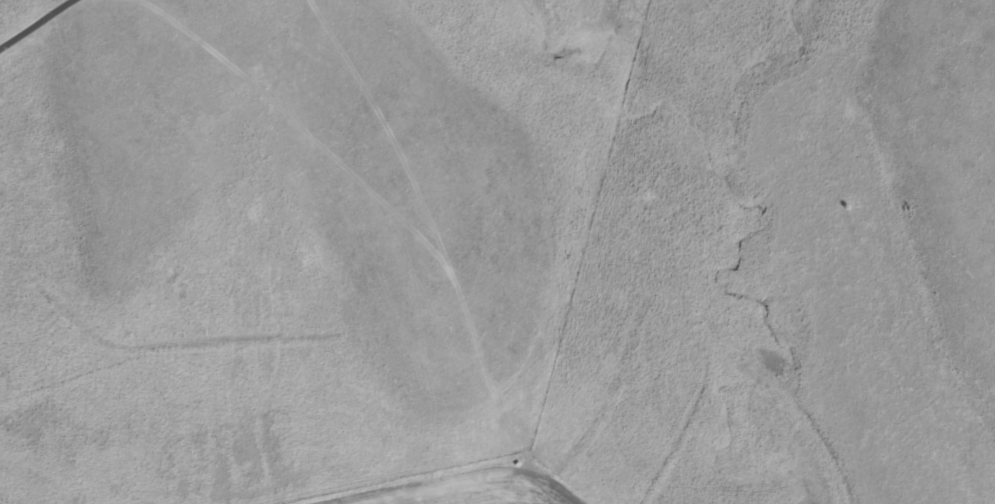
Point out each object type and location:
road: (37, 28)

